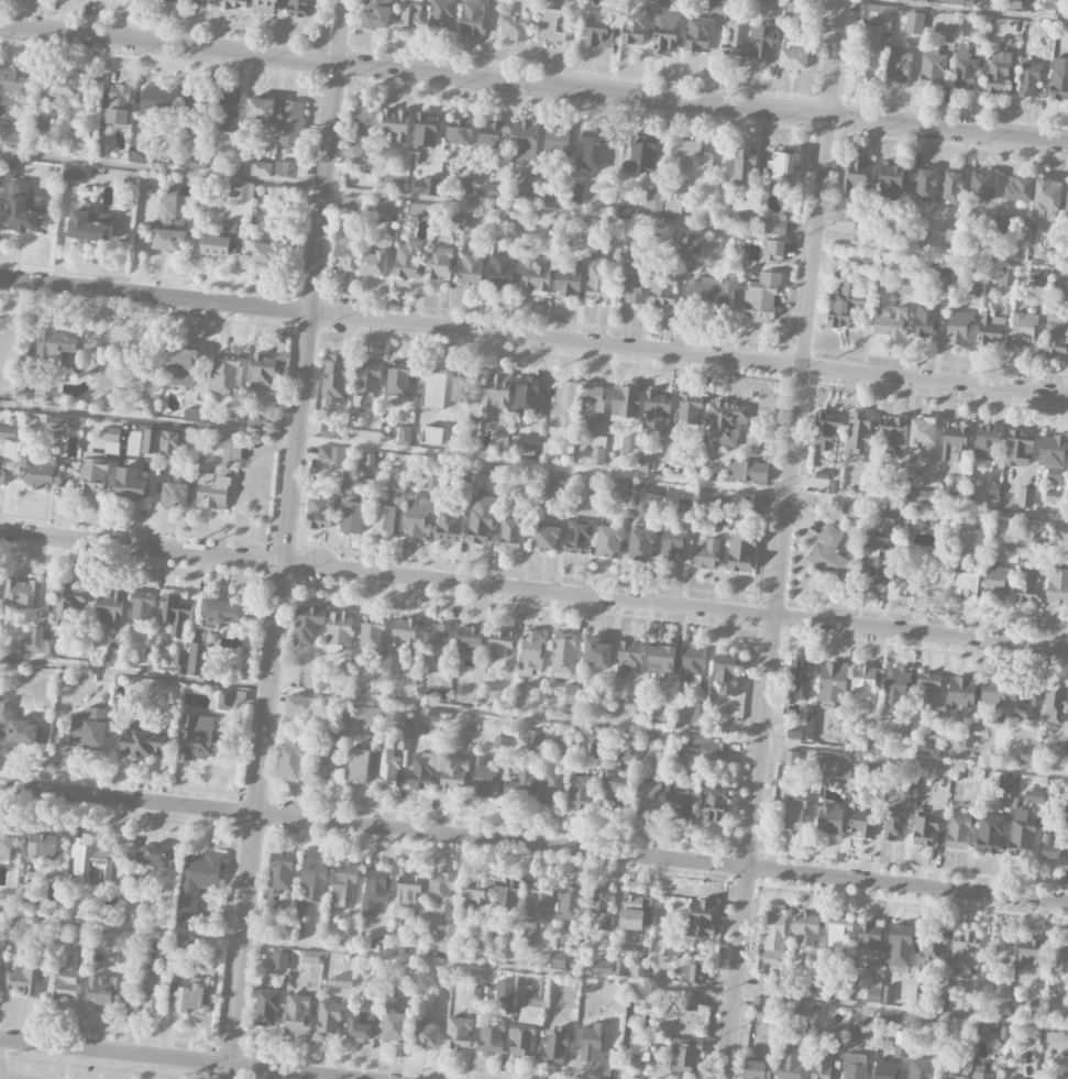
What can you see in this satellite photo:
building: (169, 1)
building: (202, 2)
building: (960, 2)
building: (233, 4)
building: (1013, 4)
building: (265, 7)
building: (299, 9)
building: (792, 10)
road: (966, 11)
building: (442, 13)
building: (376, 14)
building: (408, 14)
building: (876, 14)
building: (472, 18)
building: (914, 22)
building: (511, 24)
building: (549, 24)
building: (634, 25)
building: (598, 27)
building: (665, 33)
building: (698, 34)
building: (736, 38)
building: (762, 42)
building: (869, 51)
building: (792, 55)
road: (836, 59)
building: (899, 66)
building: (933, 67)
building: (998, 73)
building: (965, 74)
building: (1028, 79)
building: (1059, 79)
road: (533, 85)
building: (64, 87)
building: (10, 92)
building: (158, 101)
building: (119, 104)
building: (194, 110)
building: (261, 111)
building: (228, 113)
building: (42, 124)
building: (395, 125)
building: (290, 126)
building: (362, 130)
building: (425, 131)
building: (459, 132)
building: (492, 135)
building: (11, 141)
building: (524, 142)
building: (554, 142)
building: (592, 148)
building: (139, 156)
building: (639, 156)
building: (690, 159)
building: (782, 165)
building: (744, 166)
building: (262, 169)
building: (285, 169)
building: (8, 170)
building: (77, 173)
building: (857, 176)
building: (891, 180)
building: (925, 184)
building: (981, 186)
building: (426, 187)
building: (951, 187)
building: (1019, 188)
building: (241, 190)
building: (491, 191)
building: (576, 192)
building: (532, 195)
building: (1047, 198)
building: (1067, 201)
building: (350, 205)
building: (653, 205)
building: (387, 207)
building: (23, 209)
building: (166, 209)
building: (419, 210)
building: (672, 210)
road: (533, 211)
building: (749, 218)
building: (177, 225)
building: (90, 227)
building: (773, 227)
building: (167, 241)
building: (694, 244)
building: (219, 246)
building: (773, 247)
building: (268, 253)
building: (345, 254)
building: (865, 260)
building: (407, 261)
building: (374, 264)
building: (438, 264)
building: (940, 267)
building: (472, 268)
building: (500, 271)
building: (1038, 273)
building: (536, 277)
building: (597, 277)
building: (568, 279)
building: (632, 285)
building: (1063, 285)
building: (907, 286)
building: (663, 289)
building: (712, 293)
building: (761, 297)
building: (846, 304)
building: (926, 320)
building: (891, 323)
building: (957, 328)
building: (990, 329)
building: (1022, 329)
building: (1055, 333)
road: (533, 338)
building: (59, 349)
building: (181, 367)
building: (267, 370)
building: (224, 374)
building: (367, 377)
building: (334, 378)
building: (397, 381)
building: (462, 386)
building: (433, 389)
building: (494, 394)
building: (526, 395)
building: (623, 401)
building: (592, 403)
building: (563, 404)
building: (689, 409)
building: (656, 416)
building: (234, 420)
building: (727, 422)
building: (57, 425)
building: (825, 431)
building: (8, 433)
building: (858, 434)
building: (404, 437)
building: (432, 437)
building: (892, 438)
building: (923, 439)
building: (111, 441)
building: (530, 441)
building: (954, 441)
building: (151, 442)
building: (987, 442)
building: (169, 444)
building: (629, 447)
building: (233, 448)
building: (549, 449)
building: (597, 450)
building: (1019, 450)
building: (1050, 451)
building: (330, 456)
building: (366, 462)
road: (533, 465)
building: (747, 471)
building: (40, 475)
building: (1, 477)
building: (91, 477)
building: (130, 482)
building: (959, 489)
building: (992, 491)
building: (212, 492)
building: (620, 492)
building: (175, 495)
building: (921, 496)
building: (1025, 497)
building: (647, 504)
building: (684, 506)
building: (718, 507)
building: (752, 507)
building: (850, 510)
building: (320, 514)
building: (388, 514)
building: (352, 518)
building: (417, 518)
building: (481, 520)
building: (887, 521)
building: (449, 527)
building: (870, 529)
building: (510, 531)
building: (577, 537)
building: (544, 538)
road: (288, 539)
building: (1039, 540)
building: (609, 541)
building: (671, 543)
building: (640, 544)
building: (740, 552)
building: (829, 553)
building: (704, 554)
building: (874, 563)
building: (966, 581)
building: (997, 581)
building: (1027, 582)
building: (1058, 586)
road: (533, 591)
building: (22, 592)
road: (778, 598)
building: (68, 605)
building: (141, 607)
building: (111, 608)
building: (222, 610)
building: (307, 626)
building: (339, 631)
building: (371, 632)
building: (469, 639)
building: (32, 641)
building: (437, 642)
building: (500, 643)
building: (150, 645)
building: (49, 650)
building: (596, 651)
building: (530, 652)
building: (115, 653)
building: (562, 653)
building: (627, 658)
building: (660, 658)
building: (196, 660)
building: (691, 663)
building: (178, 664)
building: (725, 672)
building: (801, 679)
building: (833, 683)
building: (863, 684)
building: (929, 689)
building: (895, 690)
building: (962, 692)
building: (570, 693)
building: (994, 693)
building: (537, 694)
building: (225, 701)
building: (1024, 703)
building: (631, 704)
building: (1055, 705)
building: (298, 707)
building: (698, 712)
building: (659, 716)
road: (533, 718)
building: (16, 728)
building: (88, 729)
building: (795, 731)
building: (405, 734)
building: (529, 737)
building: (200, 739)
building: (966, 740)
building: (500, 741)
building: (863, 742)
building: (999, 742)
building: (143, 744)
building: (629, 747)
building: (927, 749)
building: (715, 751)
building: (1028, 756)
building: (327, 757)
building: (791, 759)
building: (291, 762)
building: (878, 766)
building: (357, 767)
building: (387, 768)
building: (838, 769)
building: (970, 773)
building: (422, 774)
building: (453, 775)
building: (957, 775)
building: (483, 778)
building: (518, 783)
building: (549, 788)
building: (1005, 789)
building: (939, 791)
building: (582, 792)
building: (614, 792)
building: (646, 797)
building: (1034, 797)
building: (674, 801)
building: (714, 804)
building: (1065, 807)
building: (792, 816)
building: (830, 821)
building: (862, 821)
building: (894, 824)
building: (924, 828)
building: (957, 834)
building: (990, 834)
building: (1022, 835)
building: (5, 844)
road: (533, 846)
building: (1050, 848)
building: (44, 849)
building: (150, 857)
building: (91, 859)
building: (280, 871)
building: (313, 880)
building: (198, 883)
building: (344, 884)
building: (375, 890)
building: (441, 893)
building: (23, 894)
building: (507, 895)
building: (408, 896)
building: (473, 898)
building: (602, 909)
building: (701, 918)
building: (535, 920)
building: (805, 929)
building: (80, 933)
building: (447, 933)
building: (775, 934)
building: (835, 936)
building: (869, 937)
building: (128, 940)
building: (152, 945)
building: (900, 945)
building: (185, 946)
building: (934, 948)
building: (1027, 954)
building: (962, 957)
building: (1059, 957)
building: (310, 958)
building: (279, 961)
building: (602, 967)
building: (638, 968)
road: (533, 972)
building: (692, 972)
building: (23, 980)
building: (764, 981)
building: (342, 982)
building: (63, 984)
building: (807, 989)
building: (103, 990)
building: (154, 990)
building: (840, 990)
building: (503, 991)
building: (878, 992)
building: (536, 994)
building: (189, 997)
building: (689, 1001)
building: (760, 1003)
building: (266, 1009)
building: (805, 1009)
building: (531, 1014)
building: (297, 1015)
building: (329, 1017)
building: (865, 1023)
building: (394, 1025)
building: (362, 1027)
building: (459, 1034)
building: (428, 1035)
building: (491, 1038)
building: (521, 1041)
building: (593, 1043)
building: (901, 1045)
building: (554, 1046)
building: (639, 1048)
building: (685, 1057)
road: (178, 1058)
building: (790, 1063)
building: (822, 1063)
building: (855, 1066)
building: (920, 1068)
building: (884, 1069)
building: (757, 1070)
building: (950, 1070)
building: (982, 1075)
road: (2, 1078)

